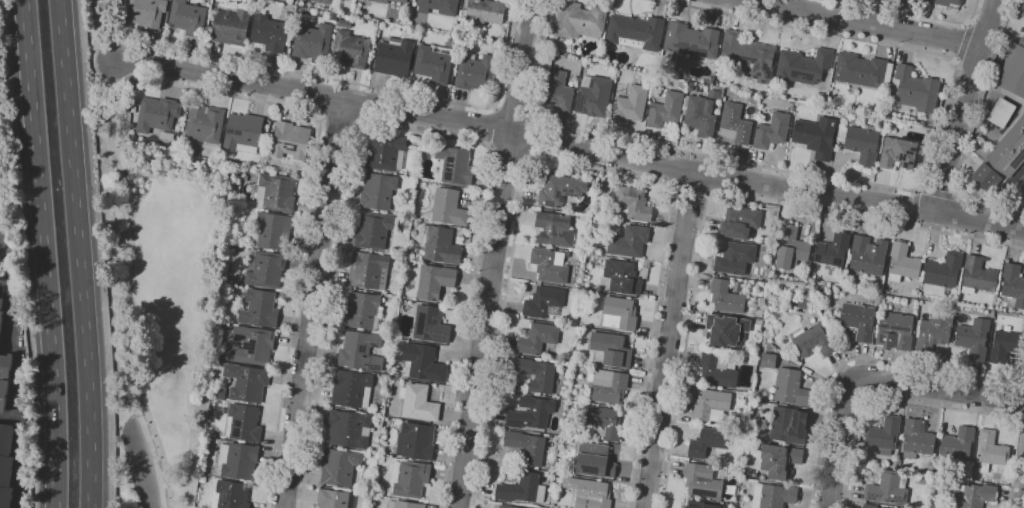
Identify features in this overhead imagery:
building: (346, 0)
building: (381, 1)
building: (401, 1)
building: (953, 3)
building: (439, 6)
rooftop solar panel: (226, 9)
building: (147, 12)
building: (484, 12)
road: (916, 14)
building: (1023, 14)
park: (96, 17)
building: (188, 18)
building: (580, 20)
road: (864, 22)
road: (97, 23)
road: (967, 23)
building: (231, 25)
building: (269, 32)
building: (414, 32)
building: (636, 32)
building: (692, 40)
building: (313, 41)
road: (963, 42)
building: (350, 49)
rooftop solar panel: (689, 49)
building: (749, 55)
building: (395, 56)
rooftop solar panel: (743, 56)
road: (955, 60)
building: (434, 62)
road: (95, 64)
building: (804, 65)
rooftop solar panel: (756, 66)
rooftop solar panel: (740, 68)
rooftop solar panel: (764, 68)
building: (1014, 68)
building: (863, 70)
building: (475, 71)
rooftop solar panel: (800, 72)
rooftop solar panel: (751, 73)
rooftop solar panel: (758, 75)
rooftop solar panel: (795, 76)
rooftop solar panel: (809, 77)
rooftop solar panel: (755, 78)
road: (350, 81)
rooftop solar panel: (761, 81)
building: (914, 89)
building: (559, 90)
building: (594, 97)
building: (630, 103)
road: (963, 106)
building: (666, 109)
road: (516, 112)
building: (1002, 112)
building: (158, 114)
building: (700, 116)
building: (205, 123)
building: (735, 124)
road: (7, 128)
road: (493, 128)
road: (413, 129)
rooftop solar panel: (229, 130)
building: (772, 130)
building: (244, 132)
rooftop solar panel: (235, 133)
road: (968, 133)
building: (820, 136)
road: (533, 138)
building: (291, 140)
rooftop solar panel: (276, 142)
building: (863, 142)
road: (568, 146)
rooftop solar panel: (296, 148)
building: (1009, 150)
building: (386, 152)
building: (898, 153)
road: (509, 154)
rooftop solar panel: (451, 159)
rooftop solar panel: (1017, 159)
building: (455, 164)
rooftop solar panel: (451, 166)
road: (587, 169)
building: (984, 177)
rooftop solar panel: (447, 178)
road: (886, 185)
building: (561, 189)
building: (378, 190)
building: (276, 192)
road: (691, 192)
road: (935, 192)
rooftop solar panel: (569, 195)
road: (711, 195)
rooftop solar panel: (555, 196)
road: (308, 203)
rooftop solar panel: (550, 203)
building: (633, 203)
building: (449, 207)
road: (913, 207)
building: (584, 217)
building: (739, 222)
building: (554, 229)
building: (272, 230)
building: (374, 230)
building: (629, 241)
road: (14, 242)
building: (439, 245)
building: (792, 247)
building: (832, 250)
road: (43, 253)
road: (79, 253)
road: (494, 253)
building: (868, 255)
building: (736, 258)
building: (903, 262)
building: (550, 265)
building: (265, 268)
building: (369, 270)
building: (944, 270)
building: (978, 275)
building: (623, 277)
park: (160, 279)
building: (435, 281)
building: (1013, 283)
building: (2, 287)
road: (127, 295)
building: (726, 296)
building: (544, 302)
road: (314, 304)
building: (759, 307)
building: (260, 308)
building: (363, 310)
building: (620, 313)
rooftop solar panel: (429, 315)
building: (1, 319)
building: (859, 320)
rooftop solar panel: (419, 324)
building: (431, 324)
building: (726, 330)
building: (895, 331)
building: (934, 332)
rooftop solar panel: (437, 338)
building: (538, 338)
building: (974, 338)
road: (669, 339)
building: (815, 340)
building: (254, 344)
building: (1006, 345)
building: (612, 348)
building: (361, 351)
building: (231, 355)
building: (753, 358)
road: (858, 358)
building: (768, 360)
building: (424, 362)
building: (5, 365)
building: (719, 369)
building: (537, 374)
road: (18, 376)
road: (871, 380)
building: (247, 382)
building: (609, 385)
building: (791, 387)
building: (352, 388)
building: (583, 391)
building: (220, 393)
building: (3, 394)
building: (419, 402)
building: (711, 404)
road: (930, 406)
road: (1021, 408)
building: (531, 412)
building: (605, 421)
rooftop solar panel: (237, 422)
rooftop solar panel: (509, 422)
rooftop solar panel: (527, 422)
building: (243, 423)
rooftop solar panel: (514, 423)
building: (787, 426)
building: (349, 428)
rooftop solar panel: (236, 432)
building: (741, 434)
building: (883, 434)
building: (917, 438)
building: (416, 441)
building: (709, 441)
building: (958, 443)
building: (527, 446)
building: (991, 450)
building: (238, 460)
building: (595, 460)
building: (779, 460)
building: (6, 464)
building: (339, 466)
building: (412, 479)
building: (704, 480)
building: (523, 488)
building: (888, 488)
building: (589, 492)
rooftop solar panel: (702, 493)
building: (231, 495)
building: (774, 495)
rooftop solar panel: (872, 496)
building: (974, 496)
building: (335, 499)
rooftop solar panel: (898, 499)
rooftop solar panel: (885, 500)
building: (405, 504)
building: (701, 504)
building: (508, 505)
building: (869, 505)

